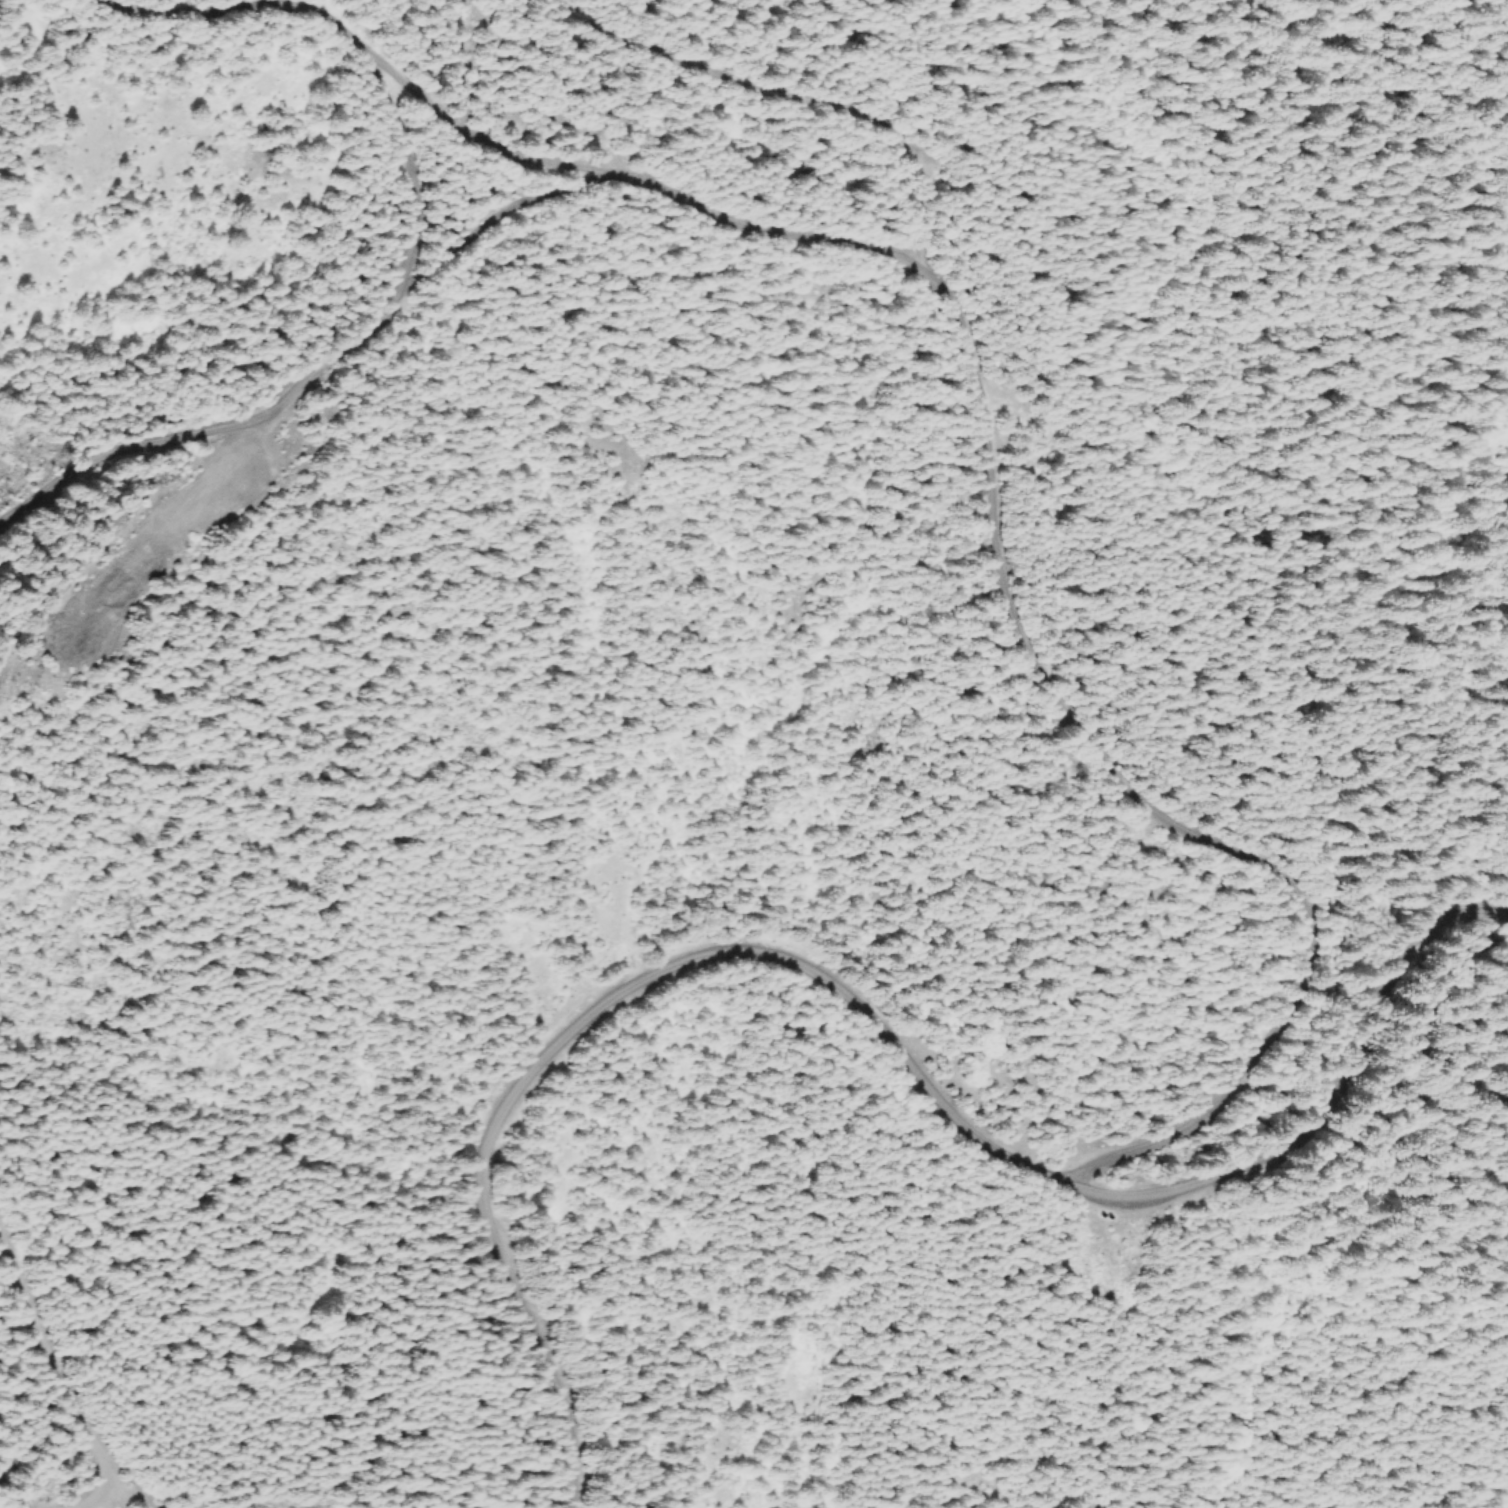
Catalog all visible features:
road: (779, 96)
road: (502, 215)
road: (320, 369)
road: (976, 402)
road: (860, 1015)
road: (63, 1361)

